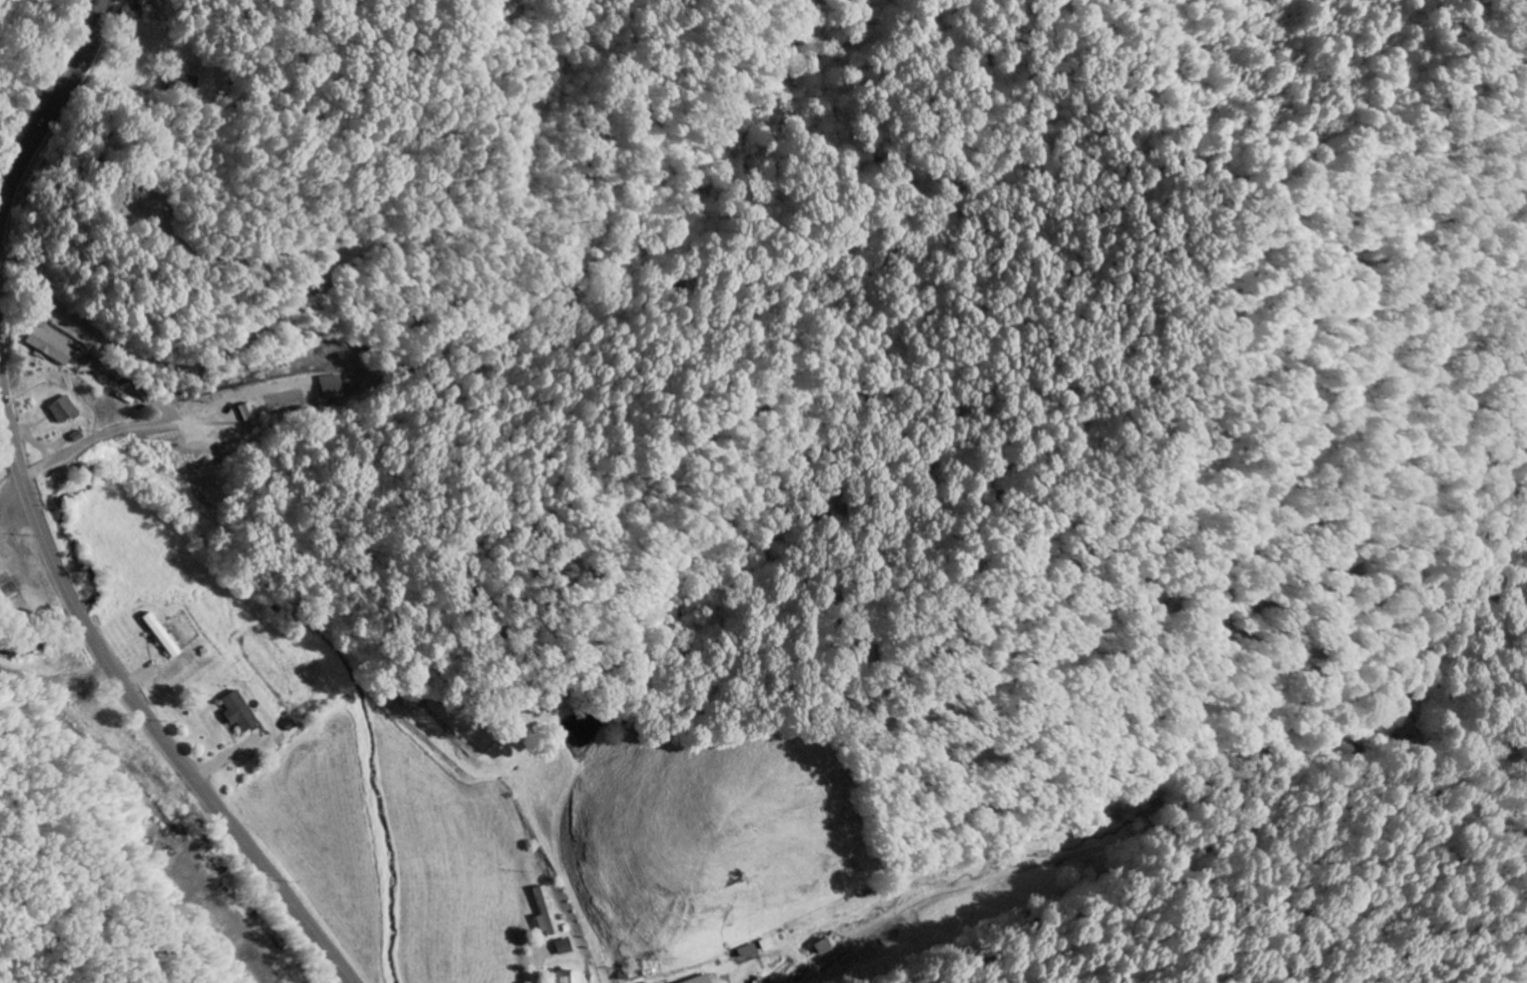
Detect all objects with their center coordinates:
road: (53, 108)
building: (47, 348)
road: (169, 364)
building: (62, 411)
building: (162, 636)
road: (57, 682)
road: (136, 700)
building: (236, 713)
building: (287, 726)
building: (543, 914)
building: (561, 948)
building: (746, 952)
road: (537, 963)
building: (565, 976)
building: (700, 980)

